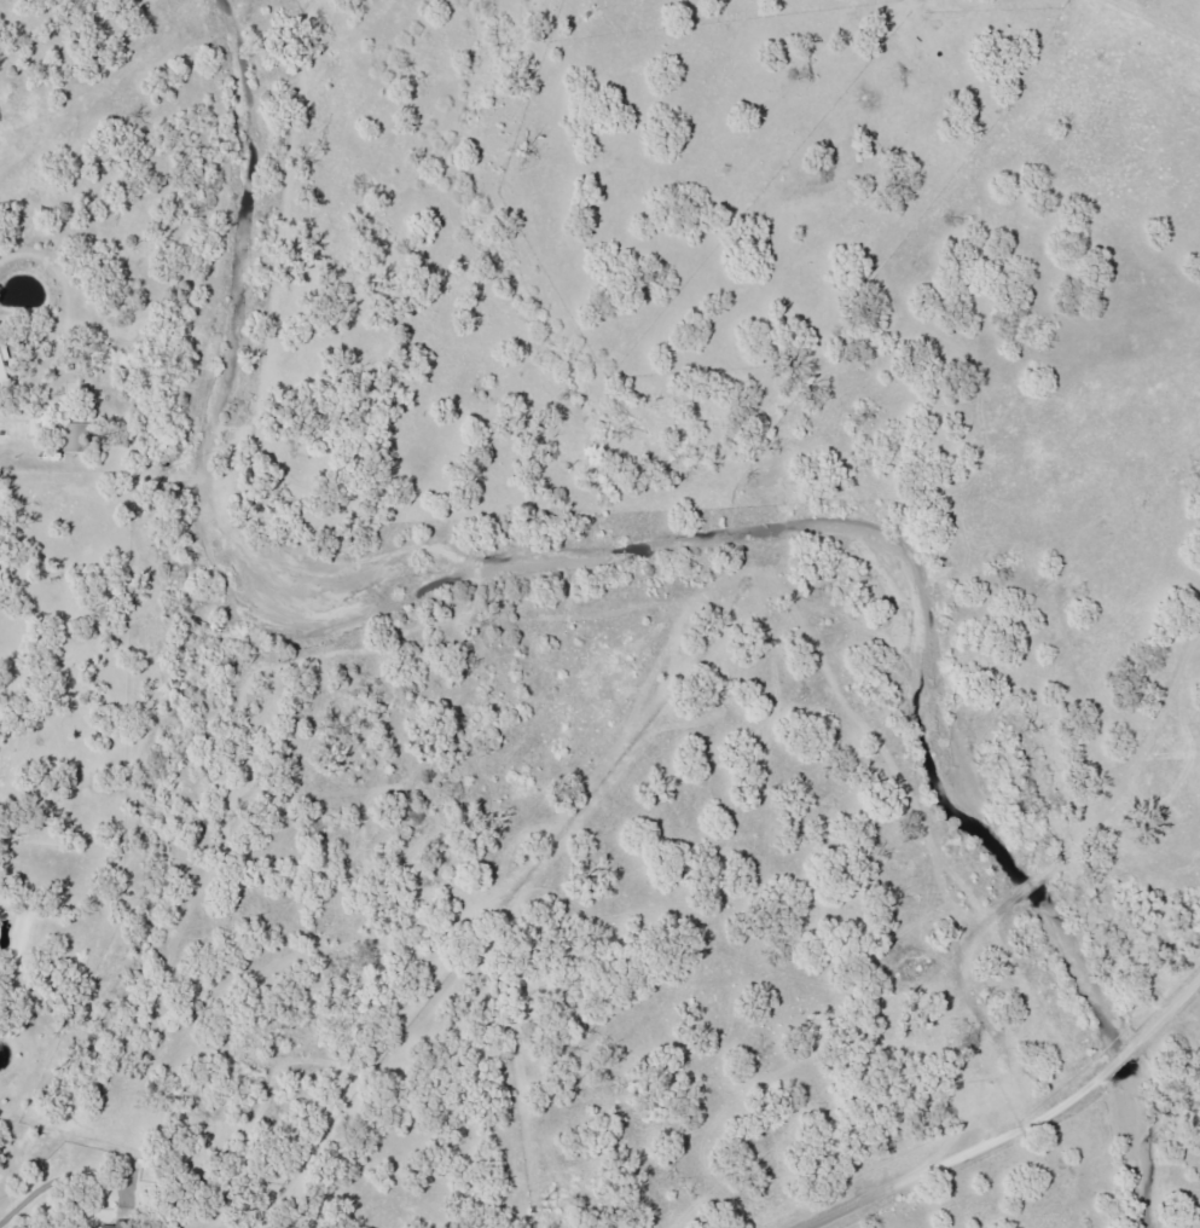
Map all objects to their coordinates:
building: (2, 365)
building: (76, 436)
road: (793, 871)
road: (1173, 1012)
road: (1123, 1064)
road: (952, 1158)
building: (105, 1227)

